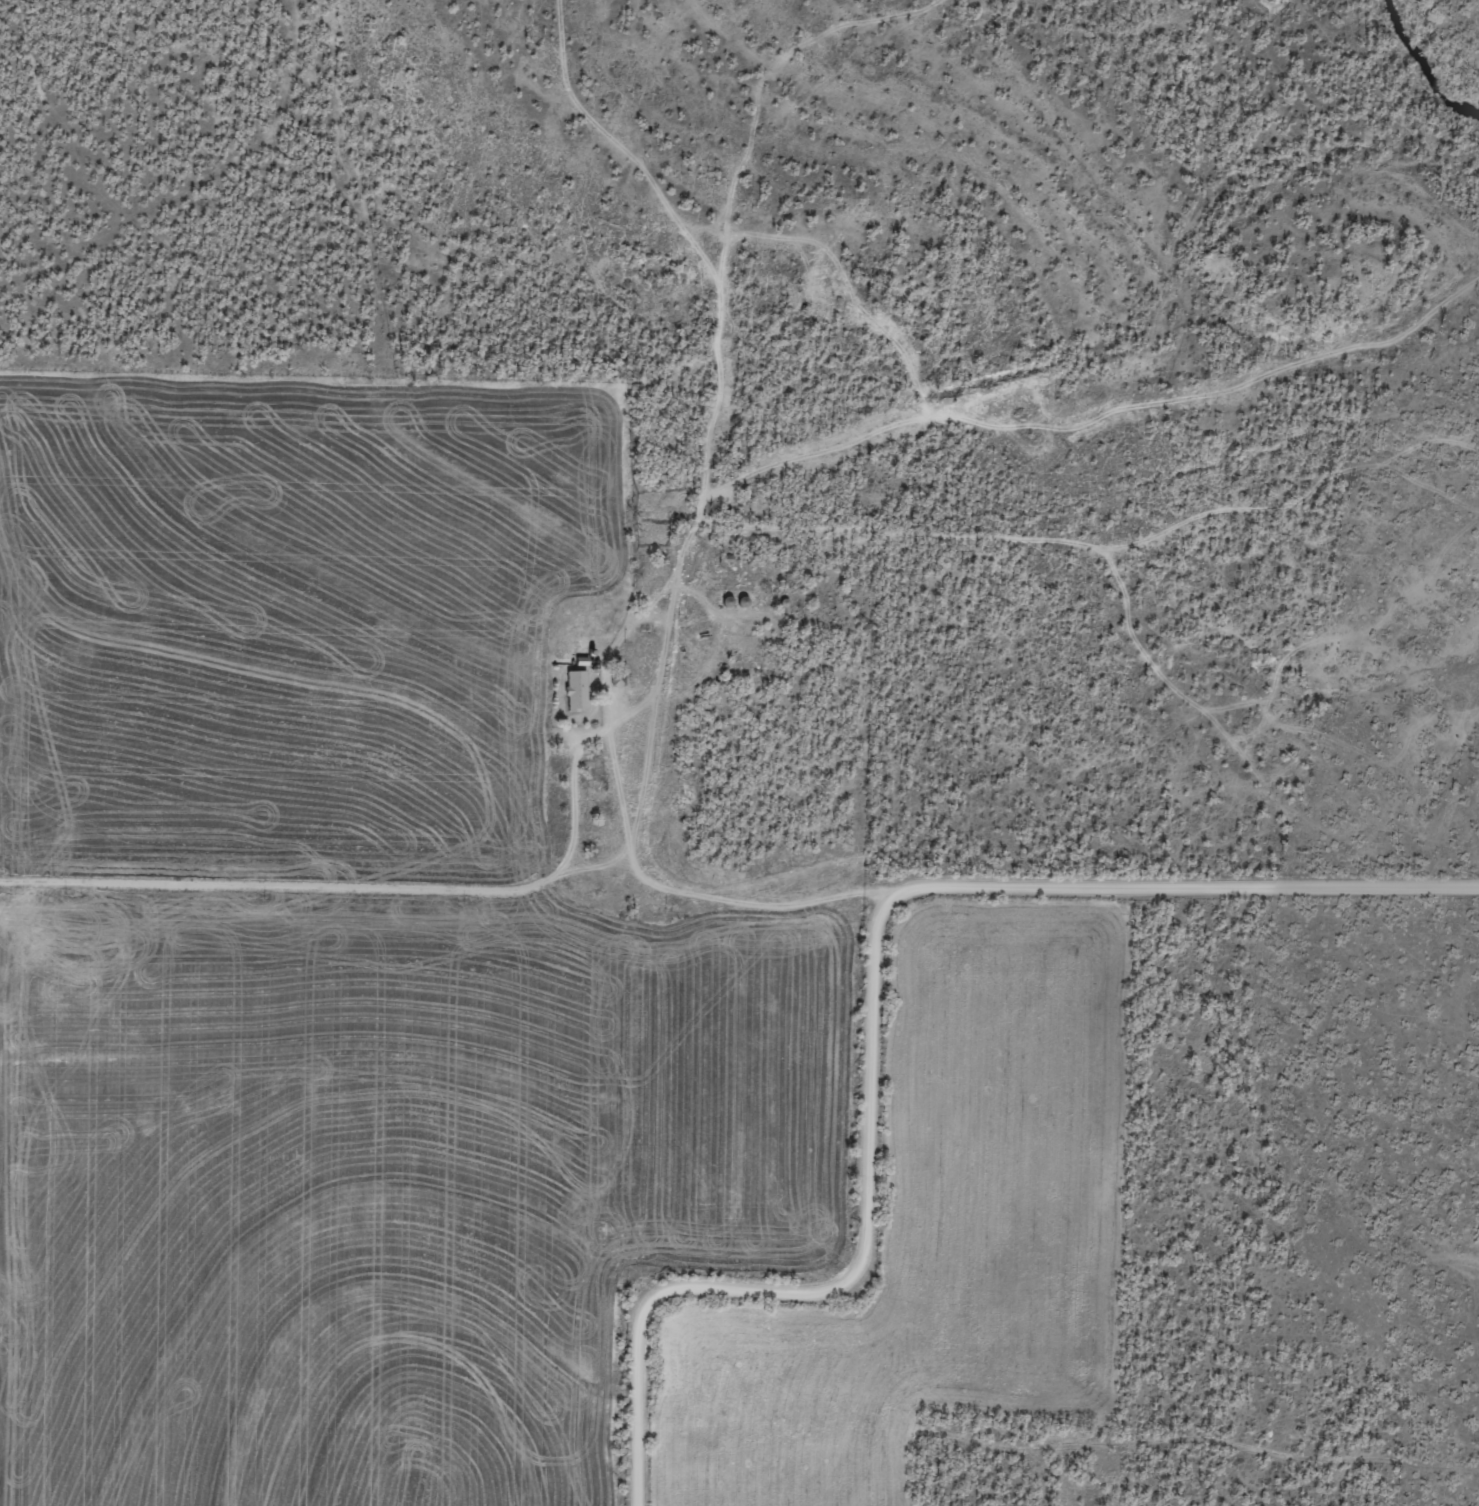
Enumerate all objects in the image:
road: (917, 427)
building: (579, 690)
road: (490, 847)
road: (1199, 886)
road: (818, 1236)

